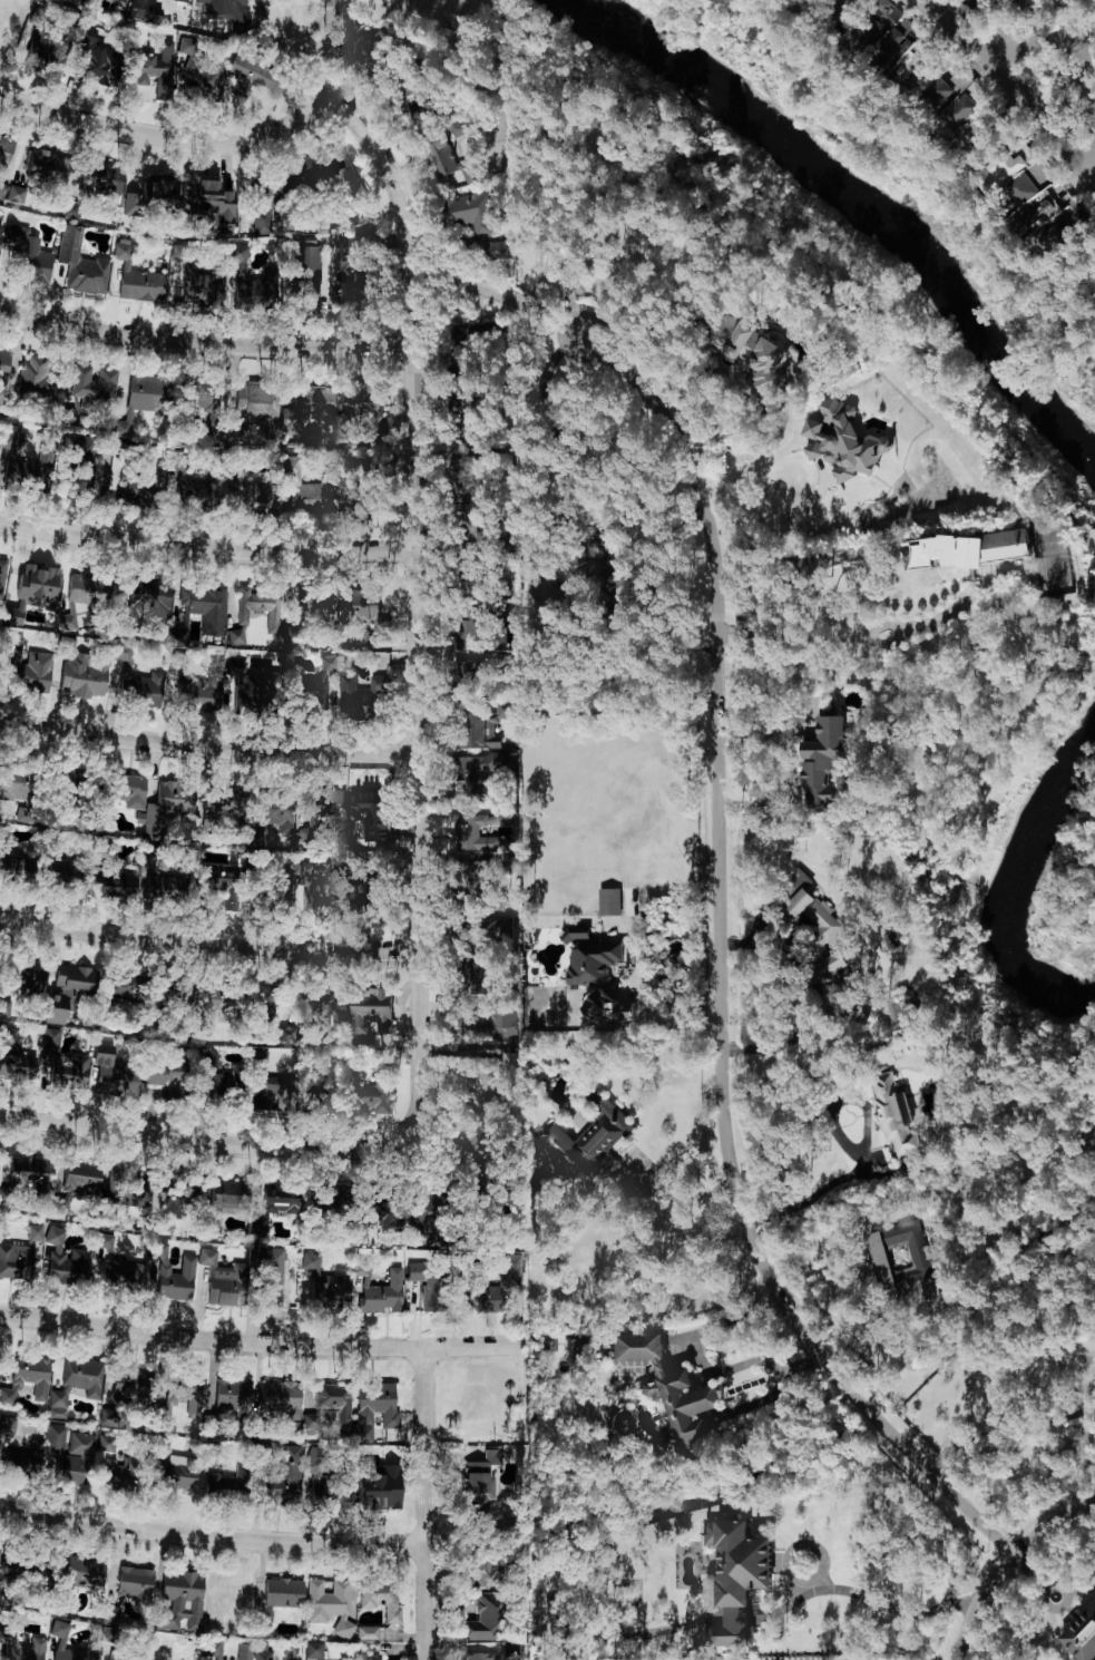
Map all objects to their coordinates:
building: (123, 0)
building: (180, 0)
building: (81, 1)
building: (1028, 3)
building: (145, 10)
building: (0, 16)
building: (888, 36)
building: (187, 45)
road: (999, 51)
building: (156, 68)
building: (254, 75)
building: (908, 77)
road: (1085, 80)
building: (423, 100)
building: (956, 108)
road: (1043, 118)
building: (461, 127)
road: (169, 135)
road: (1093, 163)
building: (449, 165)
building: (47, 166)
building: (322, 167)
building: (1000, 175)
building: (100, 178)
building: (1023, 189)
building: (11, 192)
building: (151, 196)
river: (871, 196)
building: (266, 201)
building: (207, 203)
building: (1052, 212)
building: (478, 222)
building: (27, 255)
building: (80, 262)
building: (360, 267)
building: (309, 270)
building: (136, 276)
building: (247, 276)
road: (478, 284)
building: (202, 289)
building: (1089, 291)
building: (465, 339)
road: (205, 341)
building: (3, 365)
building: (37, 380)
building: (92, 383)
building: (146, 391)
building: (202, 396)
building: (256, 403)
building: (335, 404)
building: (460, 408)
building: (68, 413)
building: (123, 427)
building: (9, 433)
building: (843, 440)
road: (749, 465)
building: (31, 470)
building: (86, 475)
building: (143, 487)
building: (202, 492)
building: (314, 494)
building: (353, 494)
building: (254, 498)
road: (784, 516)
road: (207, 548)
building: (972, 549)
building: (2, 576)
building: (32, 589)
building: (89, 589)
building: (148, 599)
road: (417, 604)
building: (205, 606)
building: (320, 607)
building: (364, 609)
building: (472, 626)
building: (235, 635)
road: (802, 641)
building: (327, 661)
building: (30, 670)
building: (82, 671)
building: (141, 683)
building: (252, 690)
building: (311, 693)
building: (361, 696)
building: (483, 726)
road: (208, 748)
building: (823, 760)
building: (479, 770)
building: (16, 783)
building: (126, 785)
building: (221, 801)
building: (167, 805)
building: (321, 809)
building: (270, 818)
building: (472, 834)
building: (14, 863)
building: (65, 870)
river: (990, 879)
building: (219, 881)
building: (477, 881)
building: (163, 883)
building: (115, 885)
building: (365, 892)
building: (609, 901)
building: (501, 928)
building: (576, 932)
building: (819, 937)
road: (208, 946)
building: (593, 961)
road: (723, 973)
building: (26, 975)
building: (479, 976)
building: (126, 984)
building: (68, 988)
building: (178, 997)
building: (225, 997)
building: (4, 1006)
building: (605, 1007)
building: (371, 1012)
building: (859, 1013)
building: (502, 1018)
building: (60, 1063)
building: (510, 1063)
building: (17, 1066)
building: (114, 1073)
building: (165, 1074)
building: (219, 1085)
building: (483, 1091)
building: (273, 1093)
building: (377, 1095)
building: (323, 1098)
building: (893, 1114)
road: (149, 1133)
building: (593, 1135)
building: (25, 1173)
building: (81, 1175)
building: (133, 1189)
building: (177, 1198)
road: (684, 1198)
road: (820, 1198)
building: (224, 1199)
building: (274, 1203)
building: (380, 1211)
building: (35, 1231)
building: (918, 1256)
building: (17, 1260)
building: (66, 1260)
building: (117, 1267)
building: (272, 1273)
building: (172, 1275)
building: (223, 1279)
building: (323, 1282)
building: (431, 1285)
building: (493, 1287)
building: (382, 1295)
road: (262, 1346)
road: (704, 1366)
building: (26, 1377)
building: (76, 1384)
building: (668, 1384)
building: (131, 1386)
building: (184, 1392)
building: (232, 1397)
building: (330, 1405)
building: (374, 1407)
building: (9, 1424)
building: (70, 1454)
building: (19, 1457)
building: (119, 1472)
building: (176, 1473)
building: (285, 1476)
building: (327, 1481)
building: (224, 1486)
building: (379, 1486)
building: (475, 1487)
road: (427, 1504)
road: (1052, 1523)
road: (213, 1540)
building: (482, 1571)
building: (85, 1572)
building: (737, 1578)
building: (136, 1583)
building: (380, 1596)
building: (180, 1599)
road: (876, 1600)
road: (977, 1601)
building: (329, 1603)
building: (110, 1612)
building: (482, 1617)
building: (366, 1631)
building: (109, 1633)
building: (1082, 1635)
building: (60, 1640)
building: (162, 1646)
building: (314, 1649)
building: (26, 1650)
building: (1, 1651)
building: (253, 1651)
building: (476, 1656)
building: (125, 1657)

